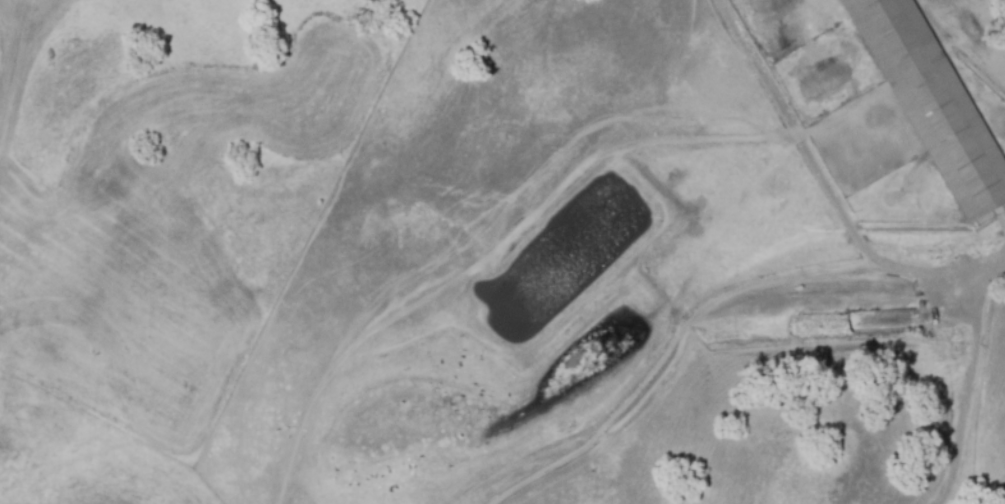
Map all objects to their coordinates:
building: (932, 106)
road: (989, 268)

